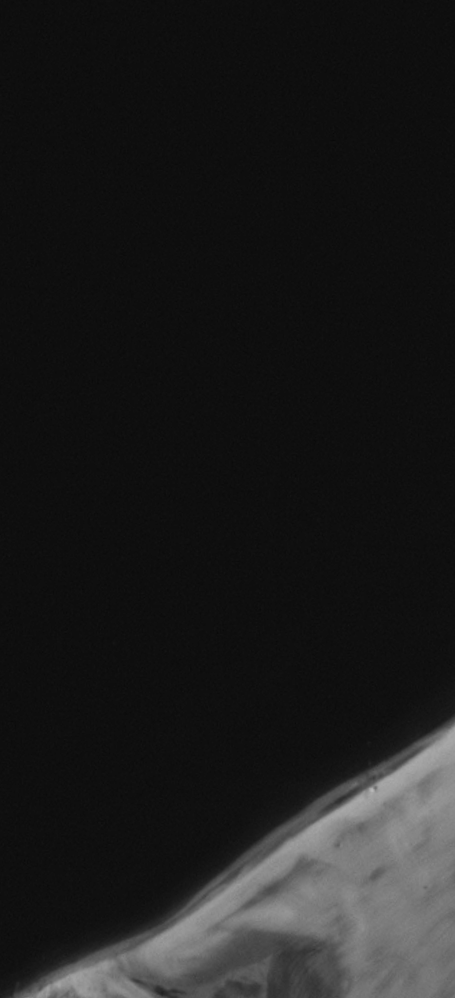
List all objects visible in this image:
park: (292, 888)

